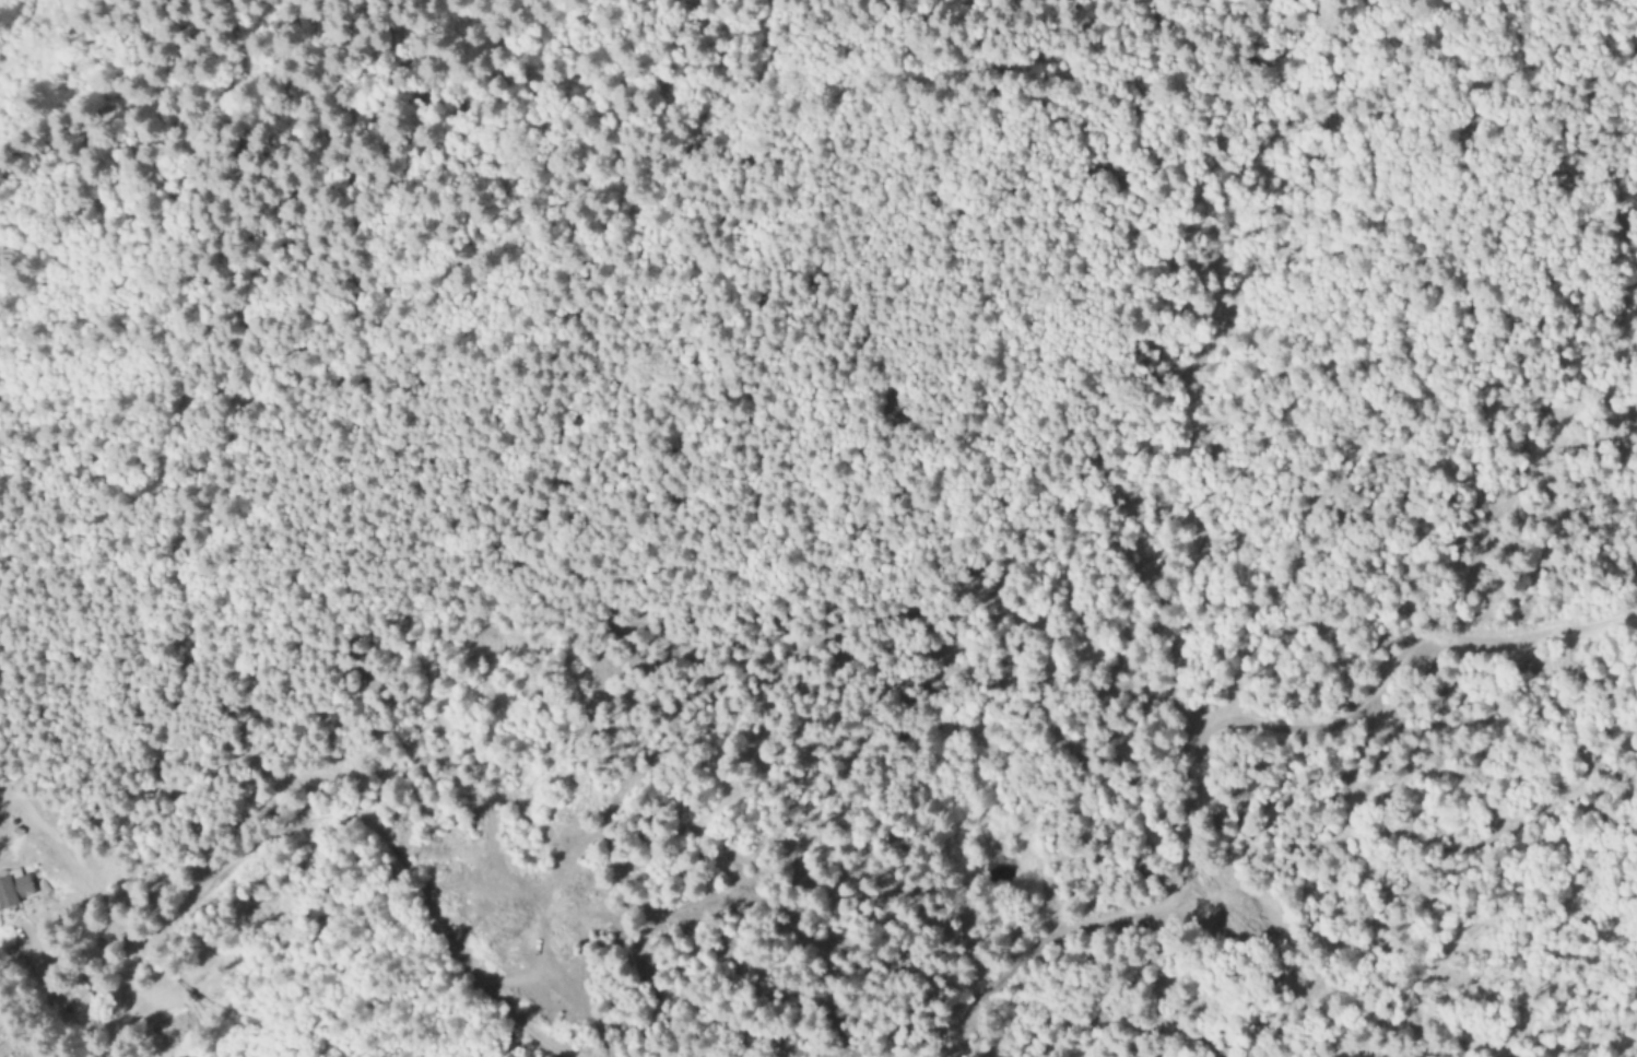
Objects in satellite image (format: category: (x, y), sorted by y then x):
building: (7, 895)

